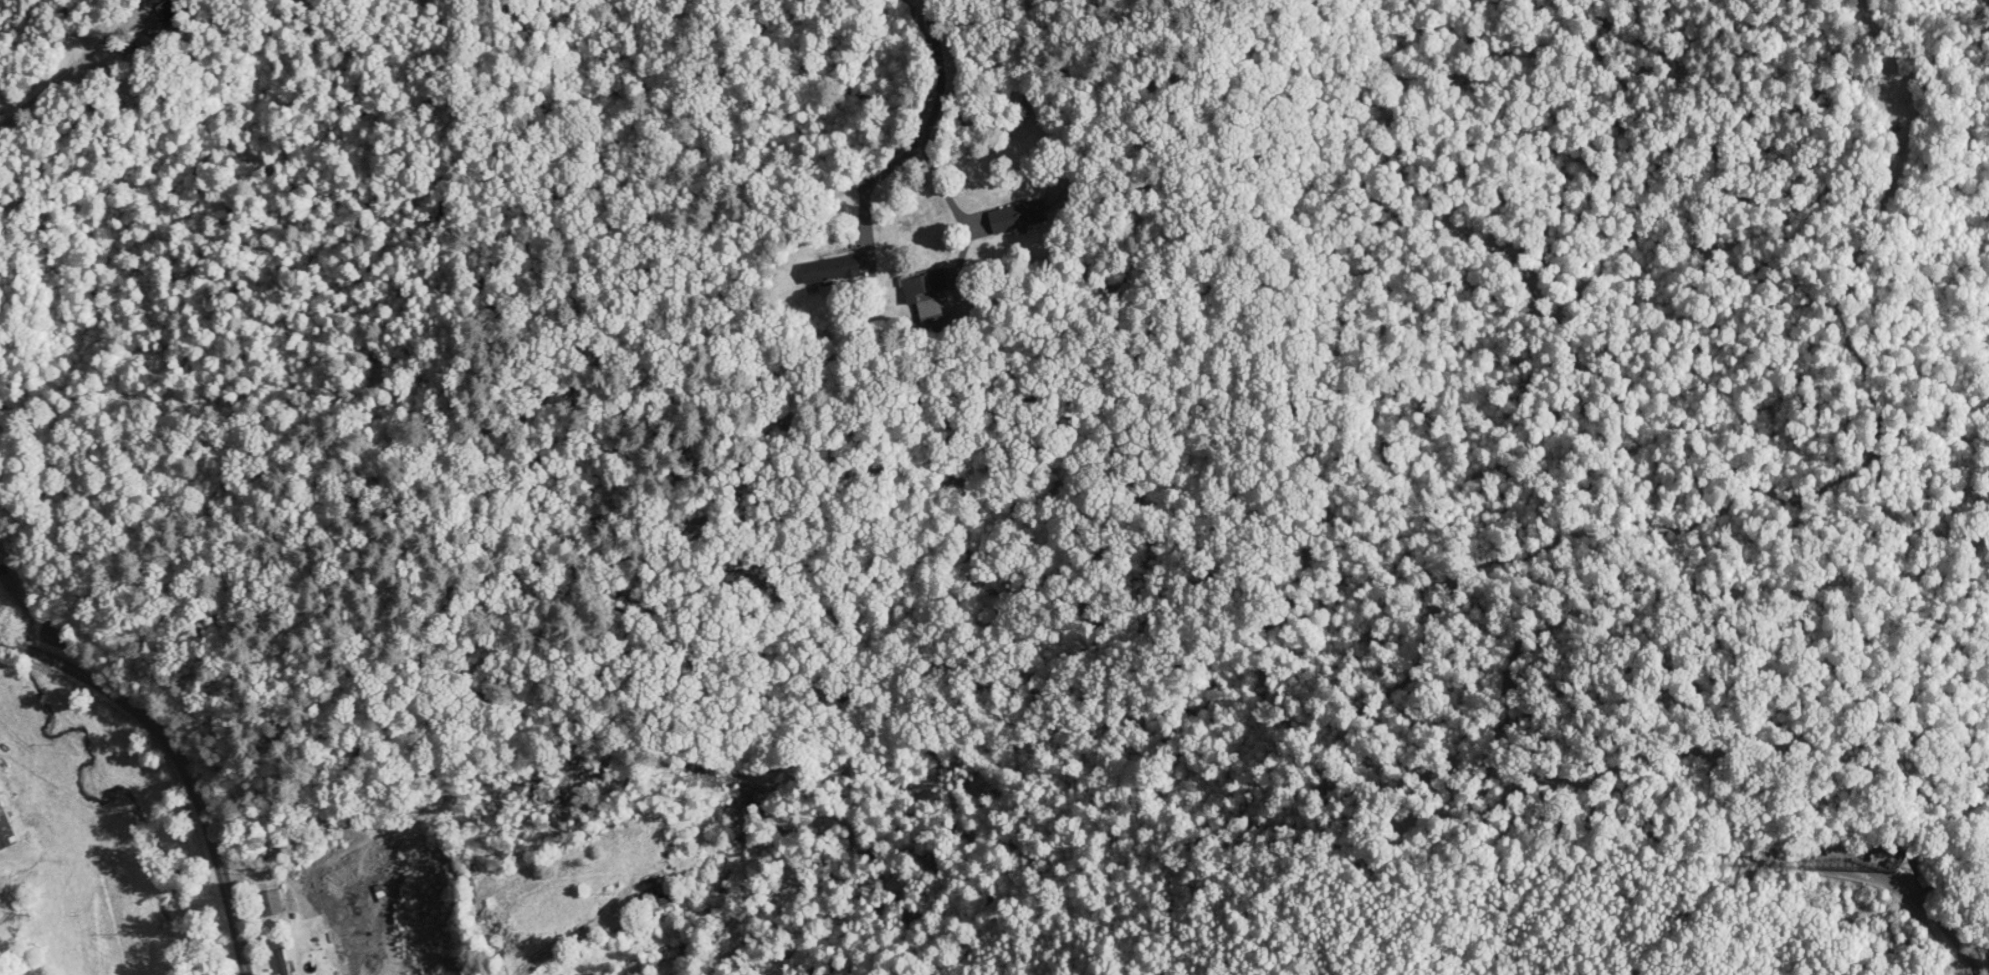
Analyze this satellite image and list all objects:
road: (932, 105)
building: (1016, 216)
building: (828, 268)
building: (923, 291)
road: (180, 760)
building: (6, 829)
building: (660, 896)
building: (272, 901)
road: (562, 943)
building: (281, 961)

